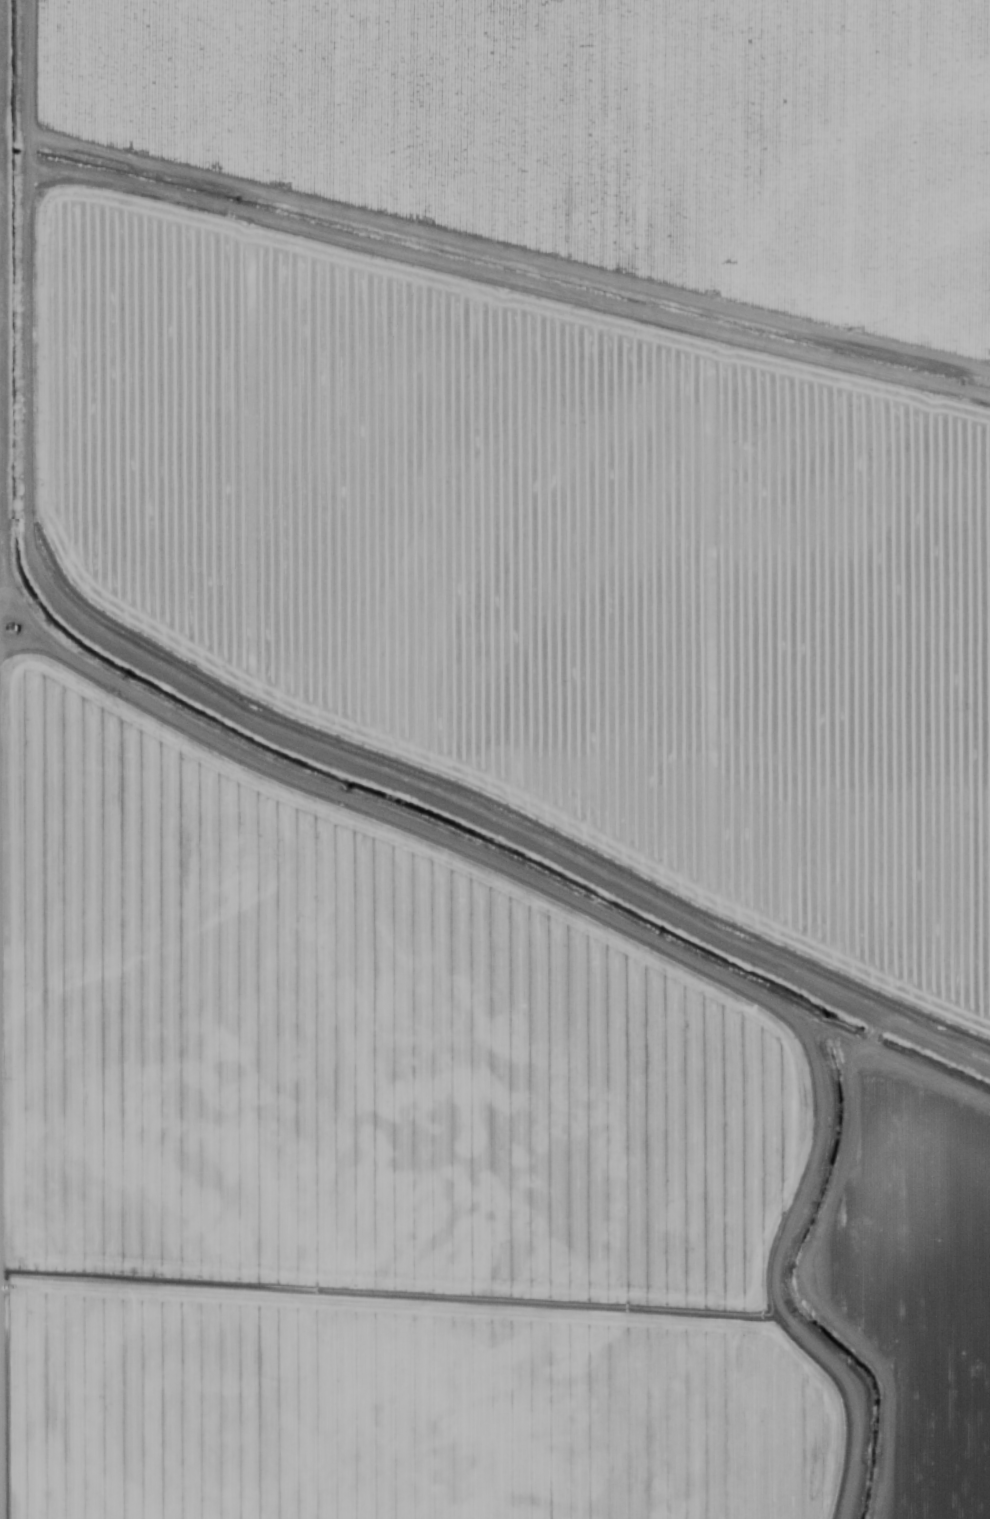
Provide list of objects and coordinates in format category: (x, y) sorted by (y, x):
crop: (580, 426)
road: (29, 759)
crop: (937, 1062)
crop: (389, 1176)
crop: (932, 1286)

